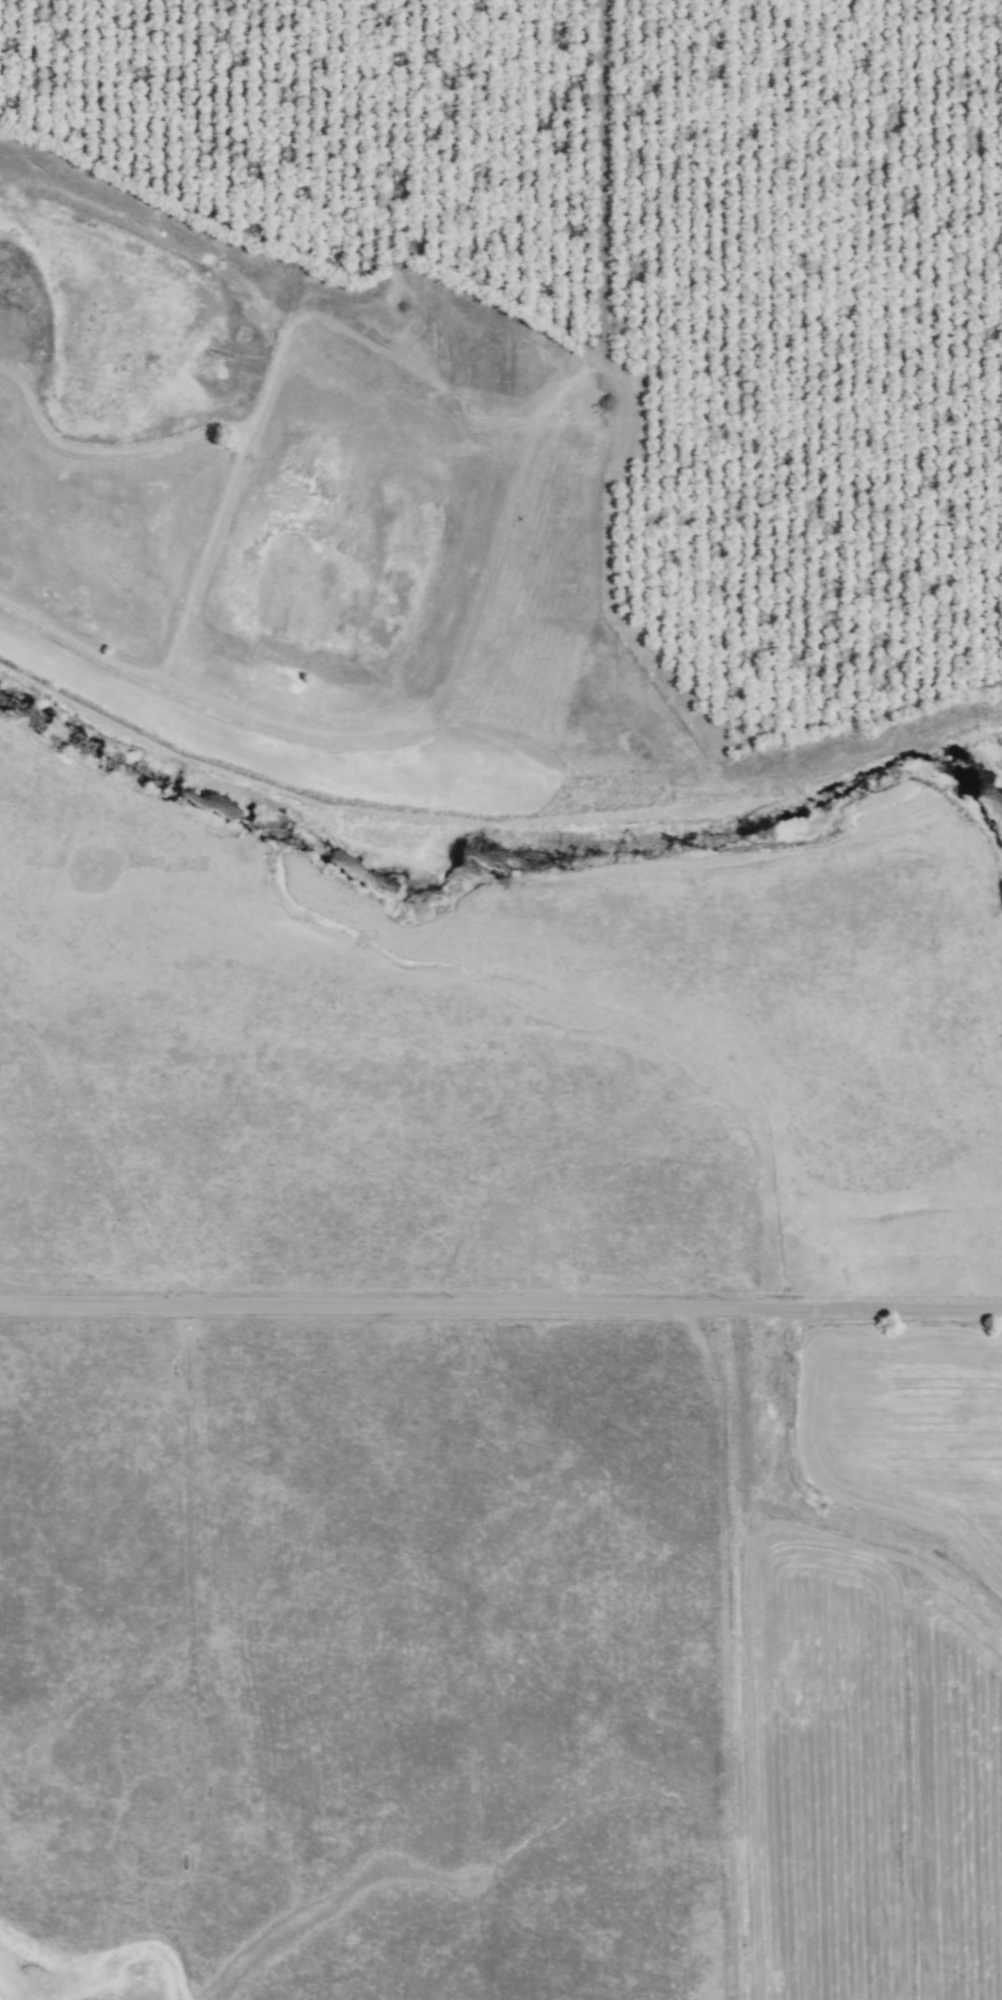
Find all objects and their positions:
road: (501, 1300)

